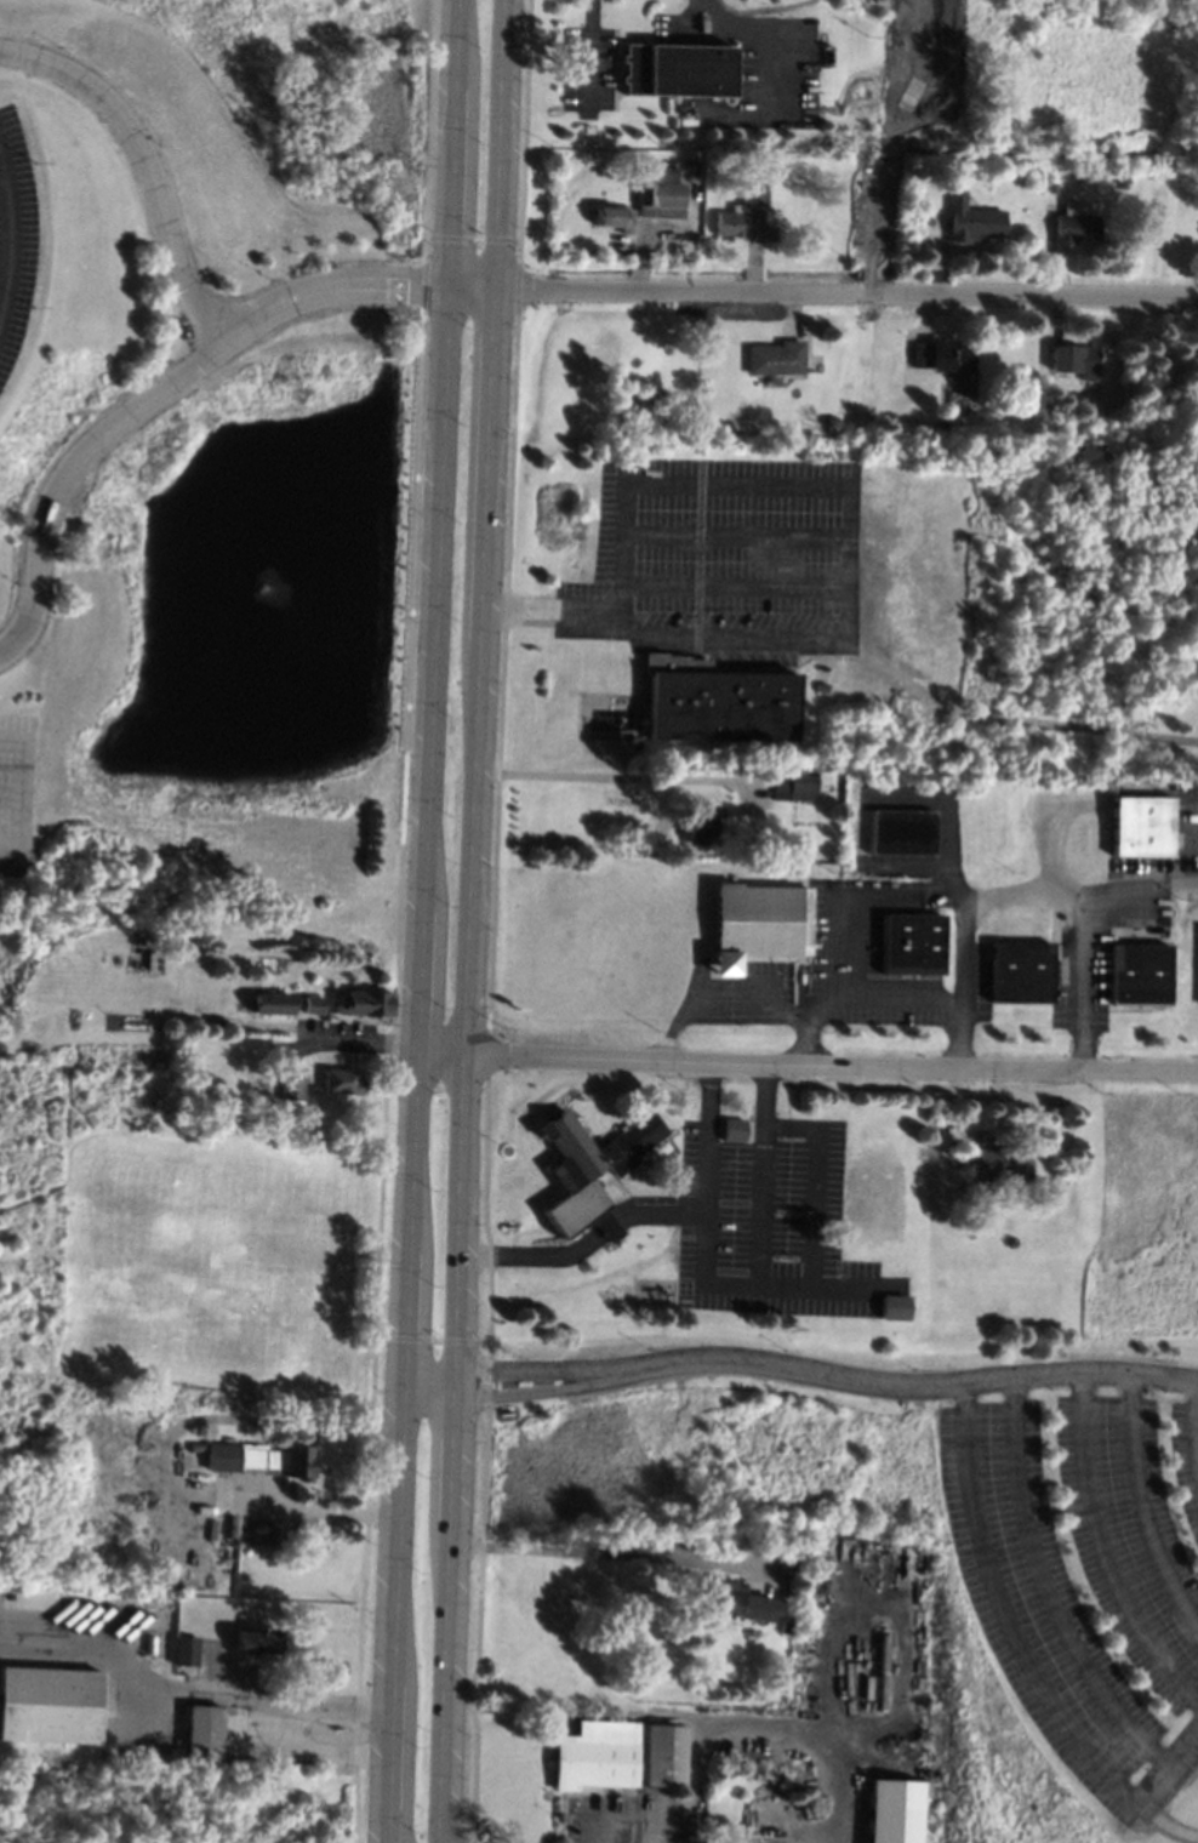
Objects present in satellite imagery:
road: (696, 12)
road: (453, 44)
road: (588, 58)
parking lot: (586, 68)
parking lot: (748, 68)
building: (674, 69)
road: (500, 143)
road: (147, 164)
building: (1031, 179)
building: (1043, 183)
road: (447, 187)
building: (655, 194)
building: (740, 209)
building: (609, 216)
building: (969, 219)
building: (1072, 224)
road: (6, 232)
parking lot: (13, 236)
road: (329, 285)
road: (468, 286)
road: (846, 292)
building: (943, 356)
building: (775, 358)
building: (1076, 360)
building: (1074, 390)
building: (832, 421)
building: (1068, 426)
building: (1197, 433)
road: (68, 464)
road: (745, 483)
road: (736, 537)
parking lot: (726, 559)
road: (736, 589)
road: (550, 614)
road: (732, 638)
building: (718, 701)
road: (1012, 724)
building: (634, 742)
road: (21, 758)
road: (581, 778)
building: (793, 784)
parking lot: (13, 789)
road: (8, 795)
building: (1139, 826)
building: (697, 827)
building: (901, 833)
road: (8, 849)
road: (1025, 896)
building: (757, 924)
road: (845, 924)
road: (1083, 929)
building: (909, 942)
building: (1020, 971)
building: (1139, 975)
road: (966, 987)
road: (906, 1002)
building: (270, 1003)
building: (364, 1003)
building: (310, 1004)
road: (797, 1014)
road: (677, 1025)
road: (358, 1046)
road: (411, 1063)
road: (464, 1065)
road: (804, 1065)
building: (340, 1082)
building: (289, 1083)
building: (731, 1129)
building: (994, 1163)
building: (589, 1169)
road: (763, 1175)
road: (815, 1181)
building: (873, 1183)
building: (879, 1205)
parking lot: (743, 1215)
road: (584, 1240)
road: (702, 1257)
building: (892, 1306)
road: (513, 1373)
road: (912, 1386)
road: (513, 1390)
building: (273, 1457)
road: (1140, 1505)
building: (228, 1520)
road: (1105, 1546)
road: (604, 1552)
parking lot: (1086, 1579)
road: (1043, 1590)
building: (736, 1600)
building: (783, 1626)
building: (252, 1638)
building: (182, 1649)
road: (1025, 1653)
road: (169, 1691)
building: (49, 1704)
road: (746, 1727)
building: (200, 1730)
building: (593, 1754)
building: (663, 1754)
building: (890, 1811)
road: (1179, 1828)

